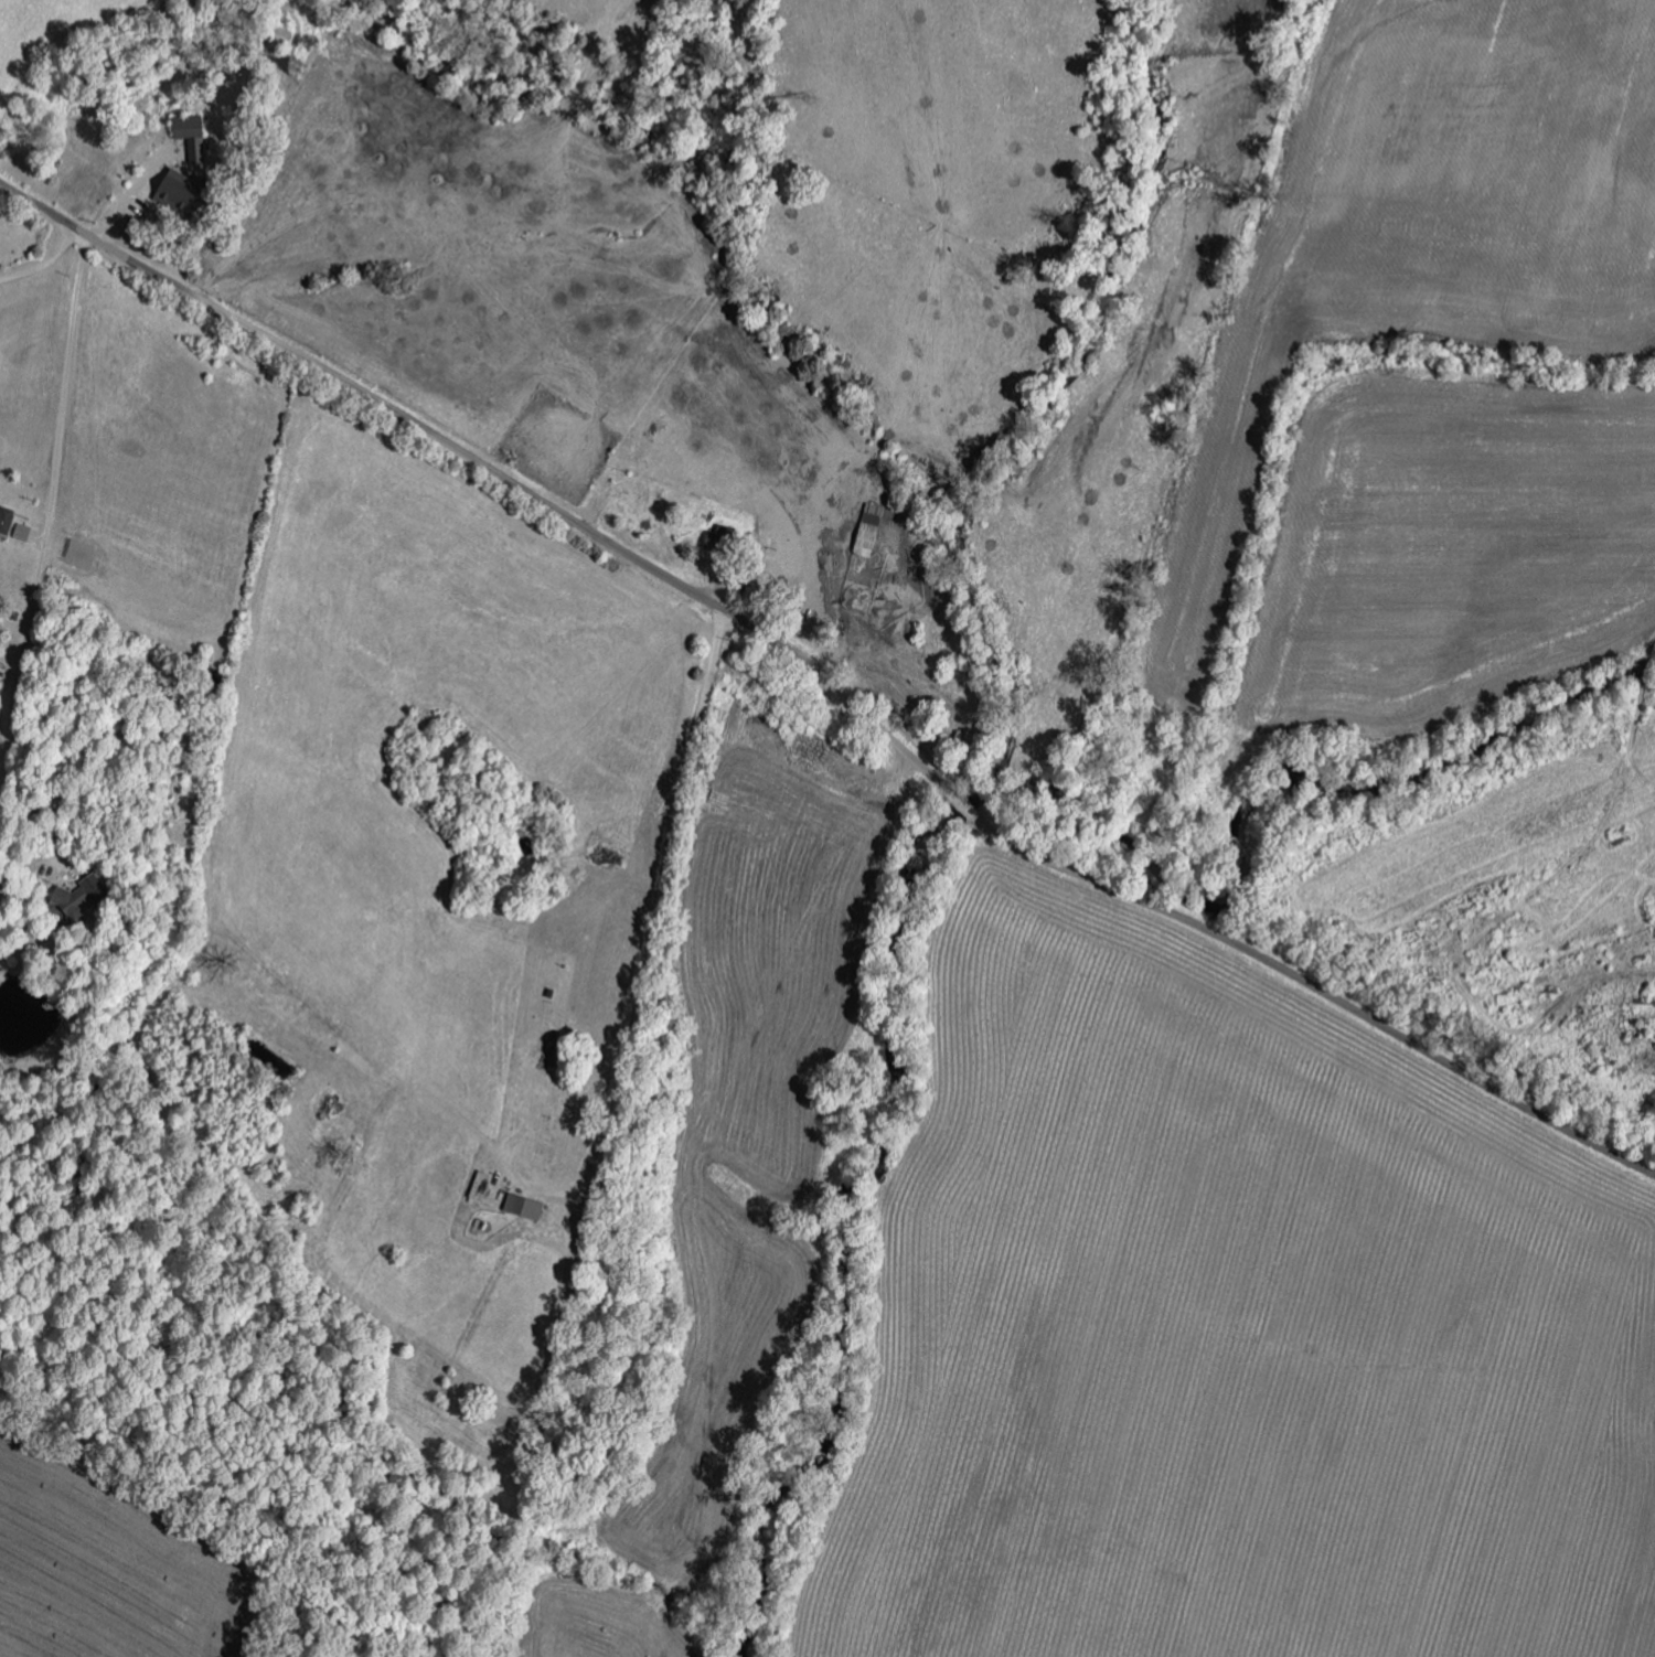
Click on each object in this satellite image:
road: (47, 268)
building: (8, 520)
building: (871, 531)
building: (24, 533)
road: (43, 556)
road: (829, 684)
building: (82, 900)
road: (653, 930)
building: (526, 1205)

